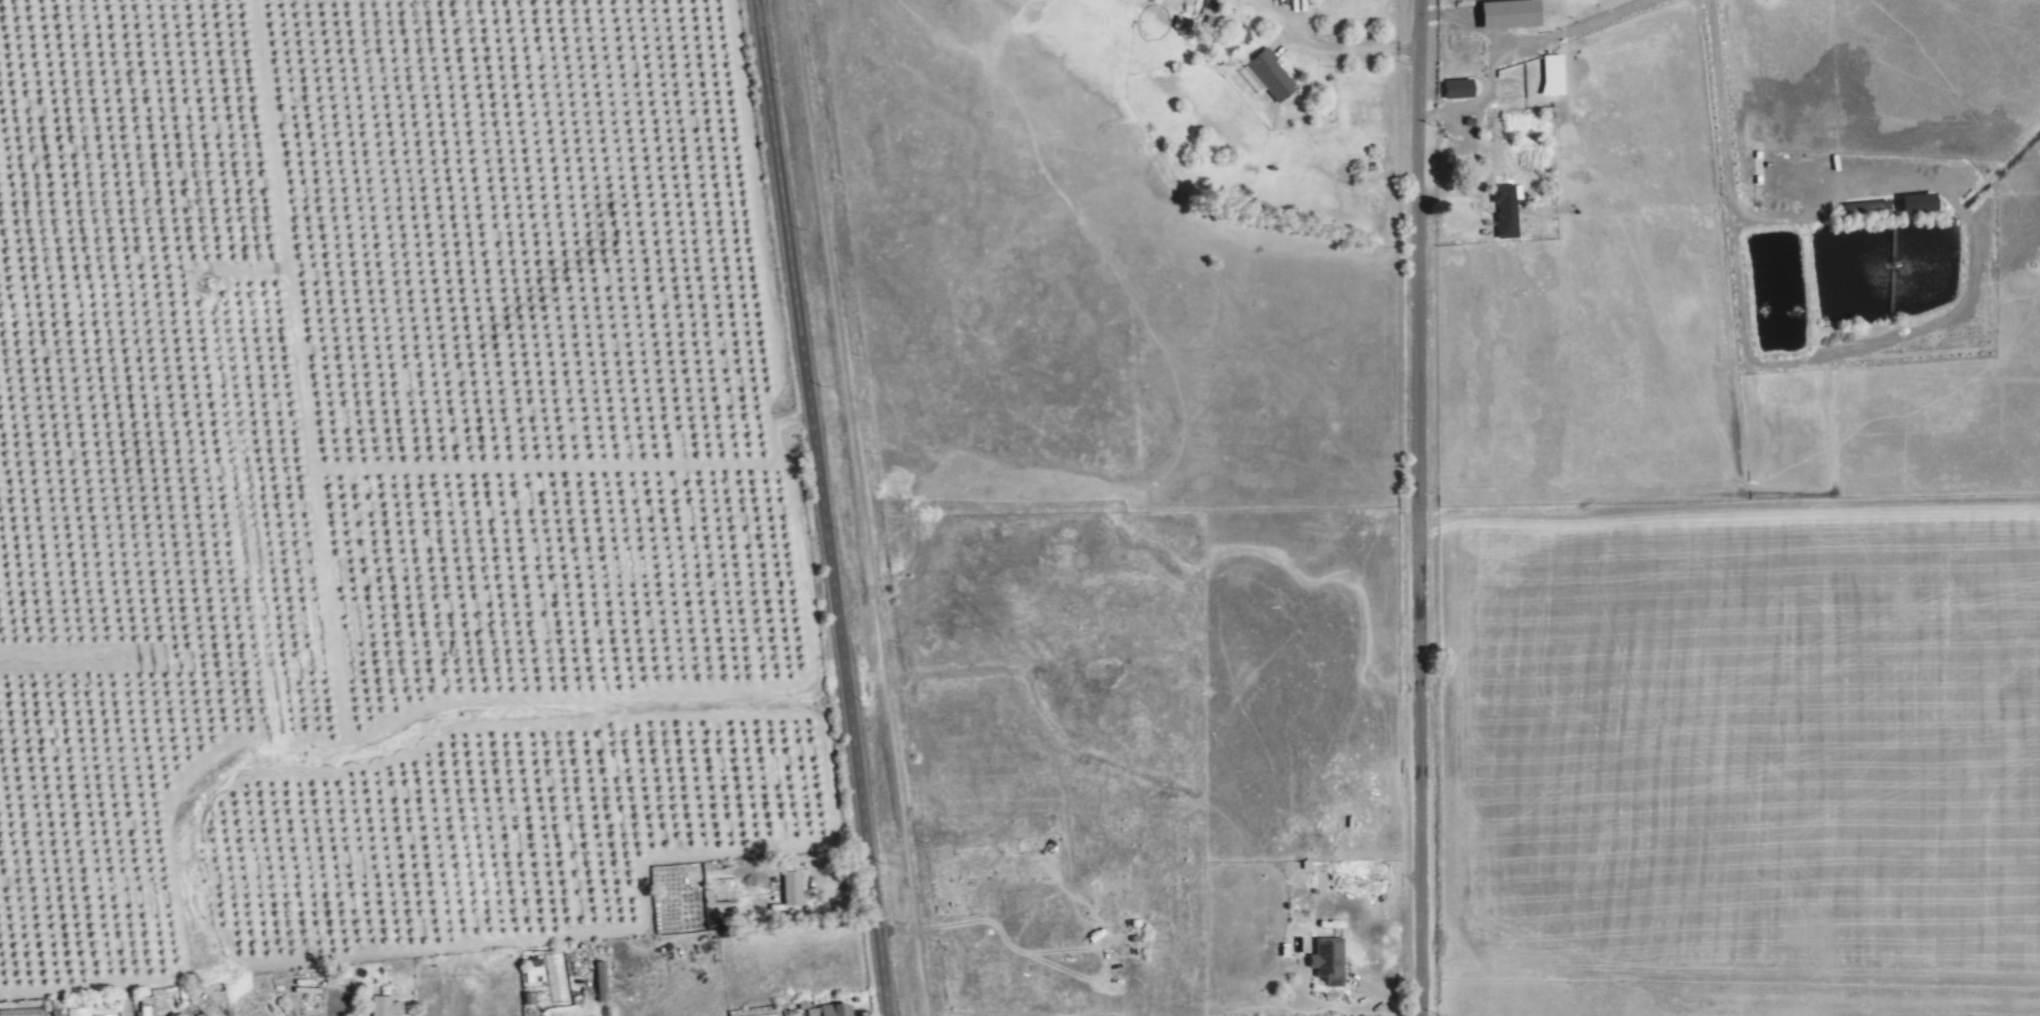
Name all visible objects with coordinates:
building: (1271, 77)
building: (1508, 94)
building: (1505, 211)
road: (1417, 507)
road: (820, 508)
building: (791, 888)
building: (724, 891)
building: (1328, 959)
building: (600, 977)
building: (384, 1006)
building: (830, 1010)
building: (147, 1011)
building: (1, 1012)
building: (29, 1012)

